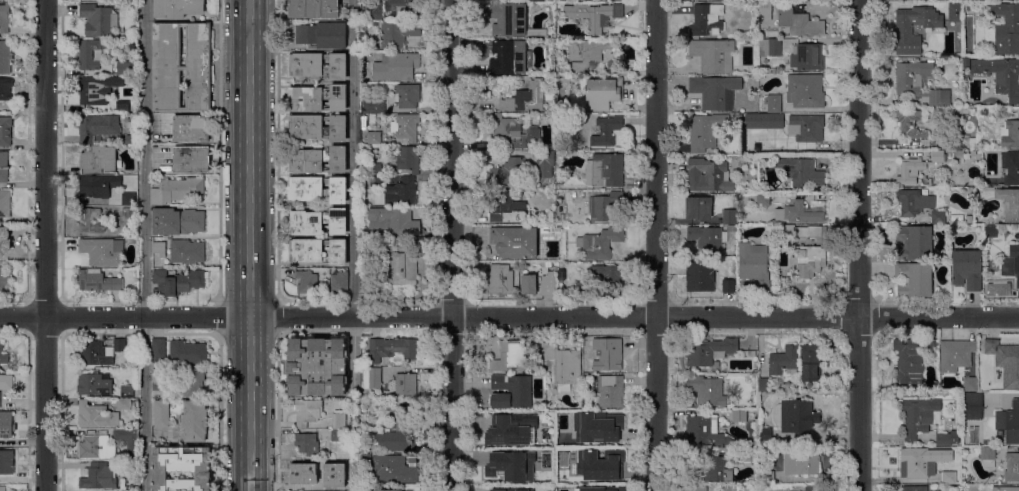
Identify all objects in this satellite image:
building: (600, 0)
building: (993, 0)
building: (537, 1)
building: (177, 8)
building: (313, 9)
building: (764, 9)
building: (391, 10)
building: (954, 12)
building: (594, 15)
building: (4, 19)
building: (706, 19)
building: (97, 20)
building: (508, 20)
building: (799, 23)
building: (1006, 29)
building: (903, 30)
building: (537, 33)
building: (397, 34)
building: (322, 35)
building: (368, 46)
building: (770, 48)
building: (90, 53)
building: (586, 54)
building: (713, 55)
building: (5, 57)
building: (510, 57)
building: (807, 57)
building: (966, 63)
building: (317, 65)
building: (395, 66)
building: (181, 67)
building: (124, 68)
building: (1001, 75)
building: (919, 82)
building: (5, 89)
building: (92, 91)
building: (805, 91)
building: (715, 92)
building: (603, 93)
building: (406, 96)
building: (317, 98)
building: (525, 98)
building: (773, 103)
building: (122, 106)
building: (373, 107)
building: (134, 108)
building: (984, 111)
building: (739, 117)
building: (750, 121)
building: (770, 121)
building: (910, 124)
building: (97, 127)
building: (317, 127)
building: (405, 127)
building: (806, 128)
building: (190, 129)
building: (5, 131)
building: (606, 131)
building: (704, 132)
building: (1010, 134)
building: (512, 135)
building: (374, 138)
building: (131, 139)
building: (781, 139)
building: (924, 142)
building: (951, 144)
building: (974, 144)
road: (278, 150)
road: (220, 151)
building: (960, 154)
building: (938, 157)
road: (145, 158)
road: (354, 158)
building: (98, 159)
building: (408, 159)
building: (191, 160)
building: (317, 160)
building: (545, 163)
building: (3, 167)
building: (1010, 167)
building: (375, 169)
building: (605, 170)
building: (910, 171)
building: (507, 172)
building: (801, 172)
building: (707, 176)
building: (561, 177)
building: (374, 181)
building: (98, 186)
building: (177, 190)
building: (317, 190)
building: (401, 192)
building: (128, 199)
building: (755, 200)
building: (913, 202)
building: (5, 203)
building: (1009, 204)
building: (506, 206)
building: (607, 208)
building: (698, 208)
building: (799, 213)
building: (128, 214)
building: (938, 216)
building: (550, 217)
building: (562, 217)
building: (728, 217)
building: (969, 219)
building: (393, 221)
building: (91, 222)
building: (177, 222)
building: (318, 222)
building: (992, 230)
building: (805, 232)
building: (709, 236)
building: (4, 241)
building: (514, 241)
building: (915, 242)
building: (601, 243)
road: (45, 245)
road: (249, 245)
road: (451, 245)
road: (656, 245)
road: (859, 245)
building: (159, 248)
building: (101, 251)
building: (317, 251)
building: (187, 252)
building: (808, 260)
building: (1011, 263)
building: (754, 264)
building: (399, 268)
building: (967, 269)
building: (696, 275)
building: (608, 277)
building: (914, 279)
building: (3, 280)
building: (501, 280)
building: (98, 281)
building: (177, 282)
building: (307, 282)
building: (339, 283)
building: (548, 283)
building: (528, 284)
building: (728, 286)
building: (581, 288)
road: (509, 315)
road: (220, 317)
road: (278, 318)
building: (931, 345)
building: (391, 348)
building: (157, 350)
building: (708, 351)
building: (99, 352)
building: (187, 352)
building: (745, 353)
building: (607, 354)
building: (752, 354)
building: (3, 355)
building: (955, 355)
road: (354, 356)
building: (1004, 356)
building: (364, 357)
building: (509, 357)
building: (783, 360)
building: (908, 360)
building: (810, 362)
building: (561, 365)
building: (317, 366)
building: (585, 377)
building: (372, 378)
building: (159, 379)
building: (6, 382)
building: (192, 382)
building: (94, 384)
building: (405, 384)
building: (969, 384)
building: (763, 385)
building: (127, 391)
building: (511, 391)
building: (610, 391)
building: (706, 391)
building: (123, 404)
road: (145, 404)
building: (972, 406)
road: (220, 412)
building: (307, 412)
road: (277, 413)
building: (161, 414)
building: (95, 416)
building: (739, 416)
building: (798, 418)
building: (916, 418)
building: (195, 421)
building: (338, 421)
building: (1009, 423)
building: (6, 425)
building: (596, 427)
building: (510, 429)
building: (398, 432)
building: (704, 432)
building: (764, 434)
building: (337, 436)
building: (943, 440)
building: (128, 441)
building: (307, 444)
building: (96, 448)
building: (746, 454)
building: (988, 457)
building: (368, 458)
building: (801, 462)
building: (917, 462)
building: (6, 463)
building: (598, 465)
building: (1012, 467)
building: (181, 468)
building: (394, 469)
building: (716, 469)
building: (310, 472)
building: (99, 476)
building: (948, 477)
building: (504, 479)
building: (341, 484)
building: (132, 487)
building: (2, 488)
building: (305, 488)
building: (601, 488)
building: (728, 488)
building: (812, 488)
building: (914, 488)
building: (512, 489)
building: (697, 489)
building: (1005, 489)
building: (388, 490)

